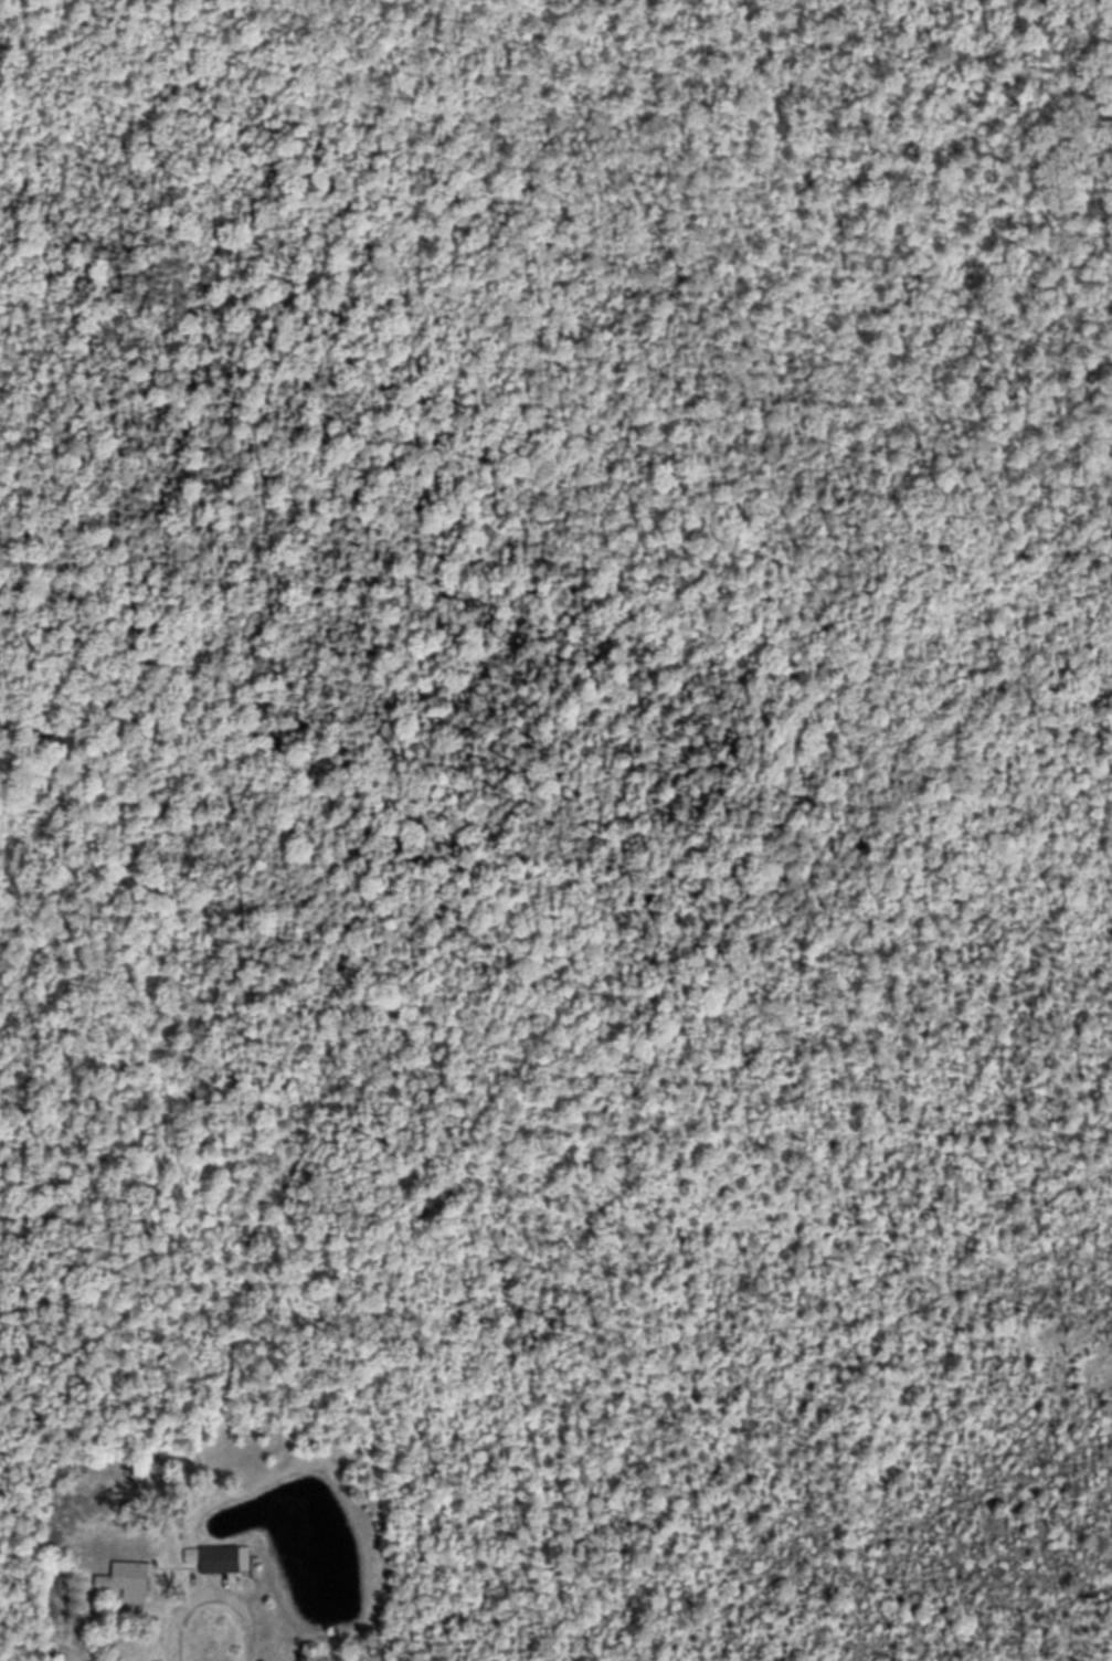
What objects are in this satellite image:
building: (139, 1470)
building: (220, 1557)
building: (127, 1577)

